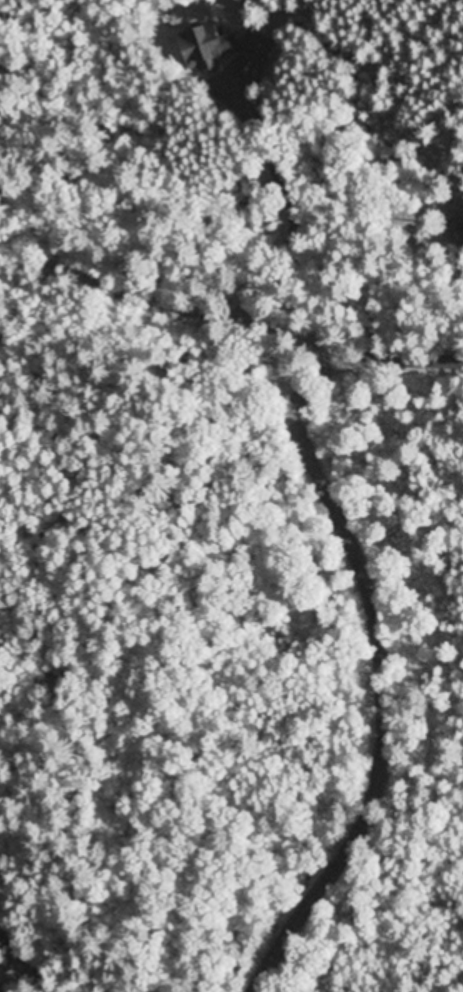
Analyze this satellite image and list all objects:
building: (207, 46)
road: (234, 373)
road: (390, 701)
road: (35, 959)

